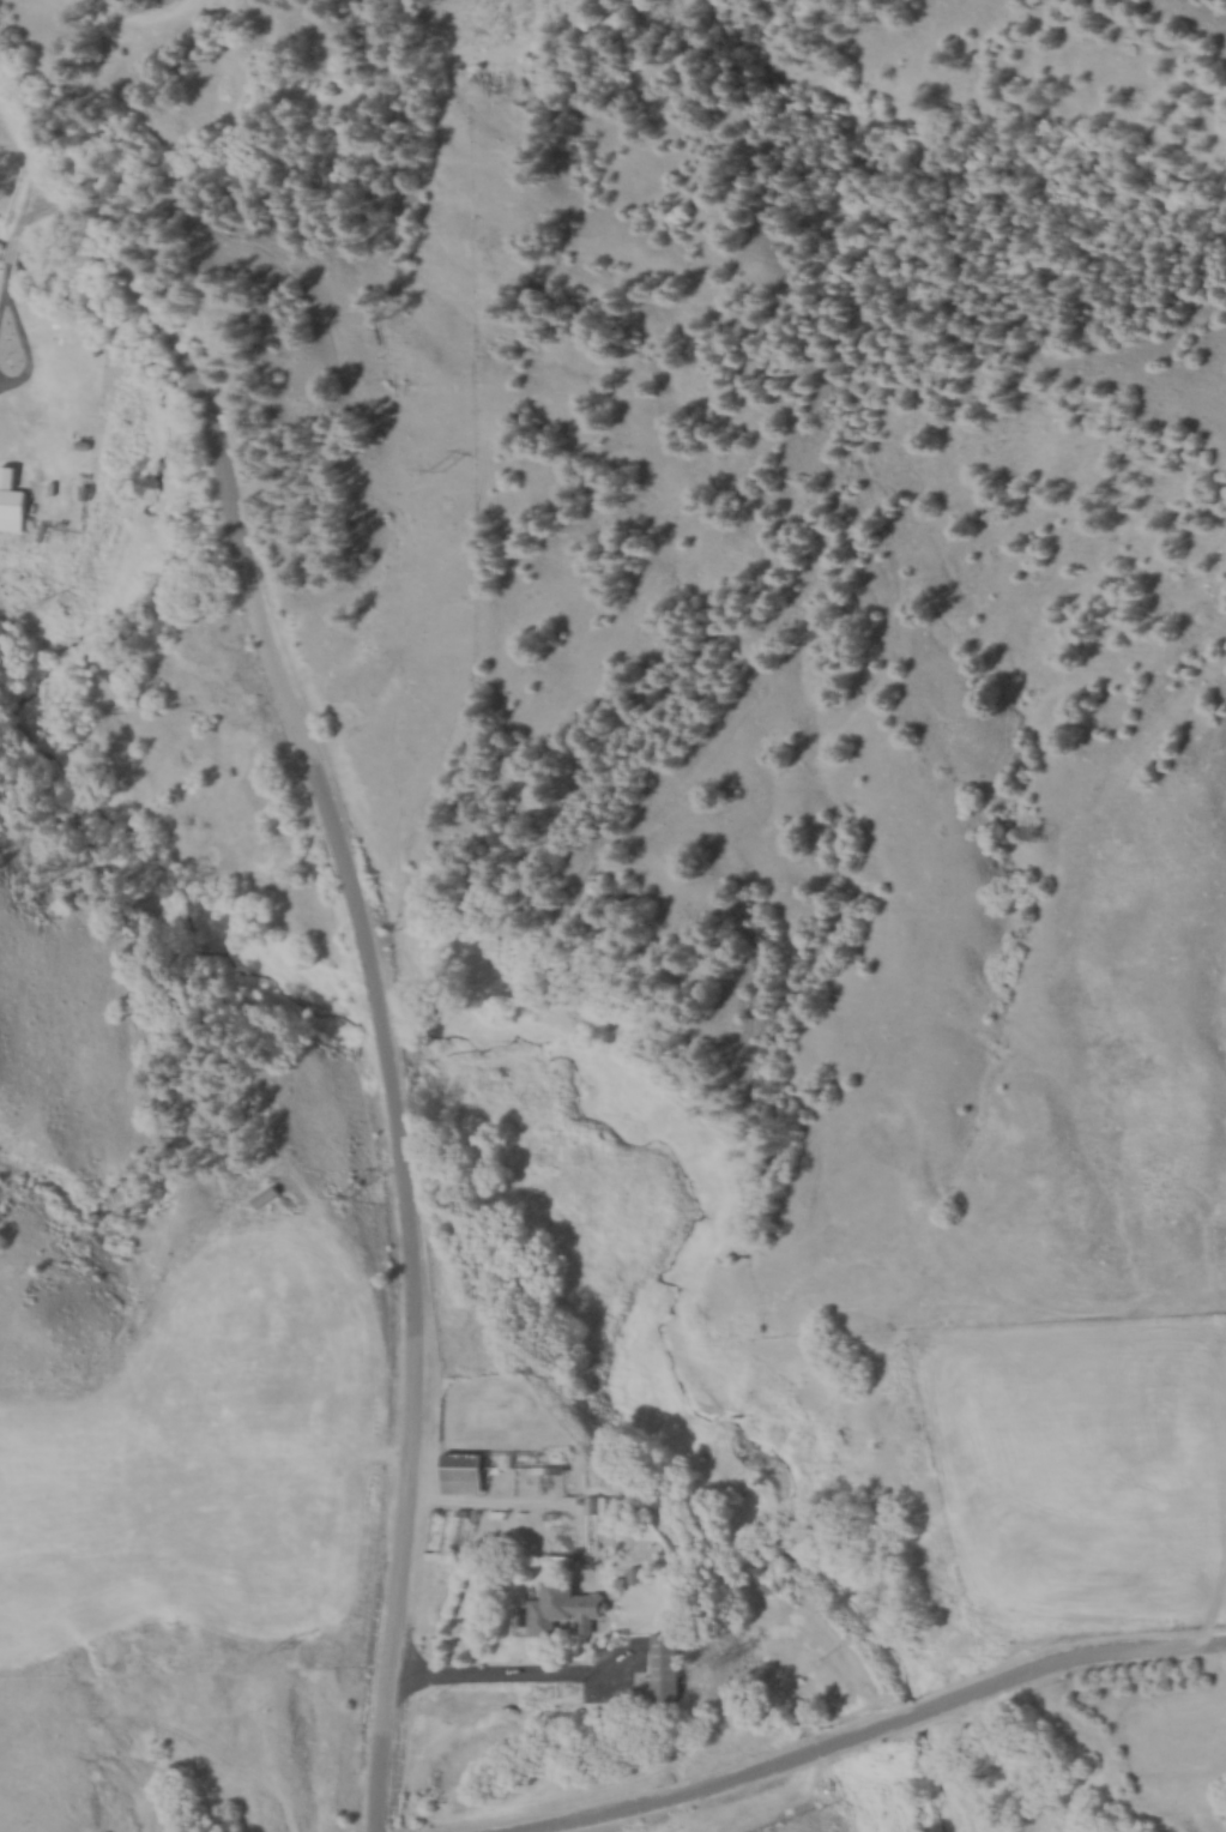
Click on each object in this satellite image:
road: (7, 245)
road: (0, 372)
road: (197, 415)
power tower: (441, 469)
building: (14, 508)
building: (270, 1195)
power tower: (348, 1197)
road: (411, 1288)
building: (467, 1472)
building: (602, 1503)
building: (640, 1574)
building: (567, 1607)
power tower: (286, 1650)
building: (669, 1668)
road: (512, 1680)
road: (871, 1731)

